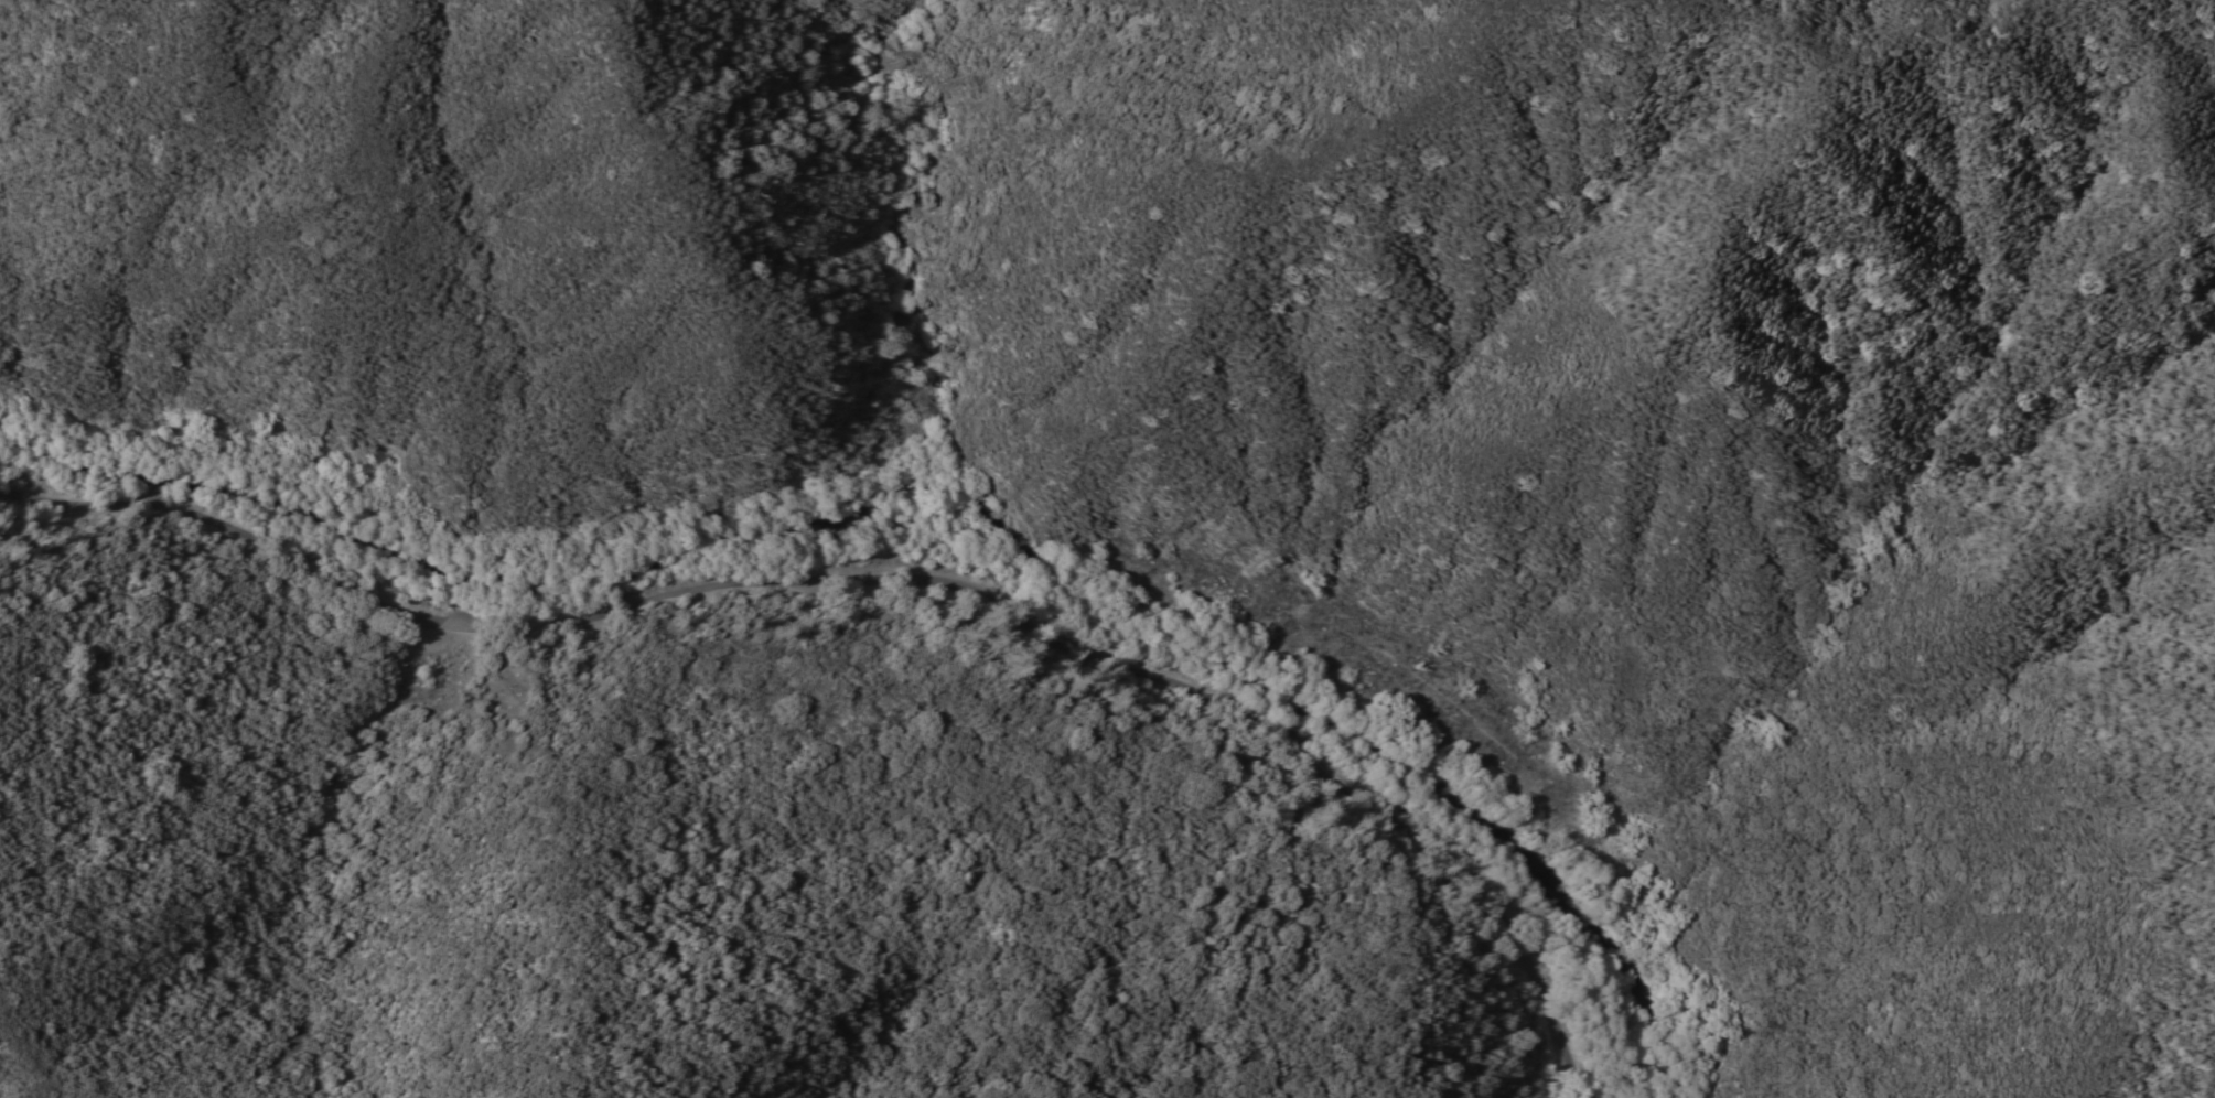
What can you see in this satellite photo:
river: (942, 504)
road: (889, 577)

